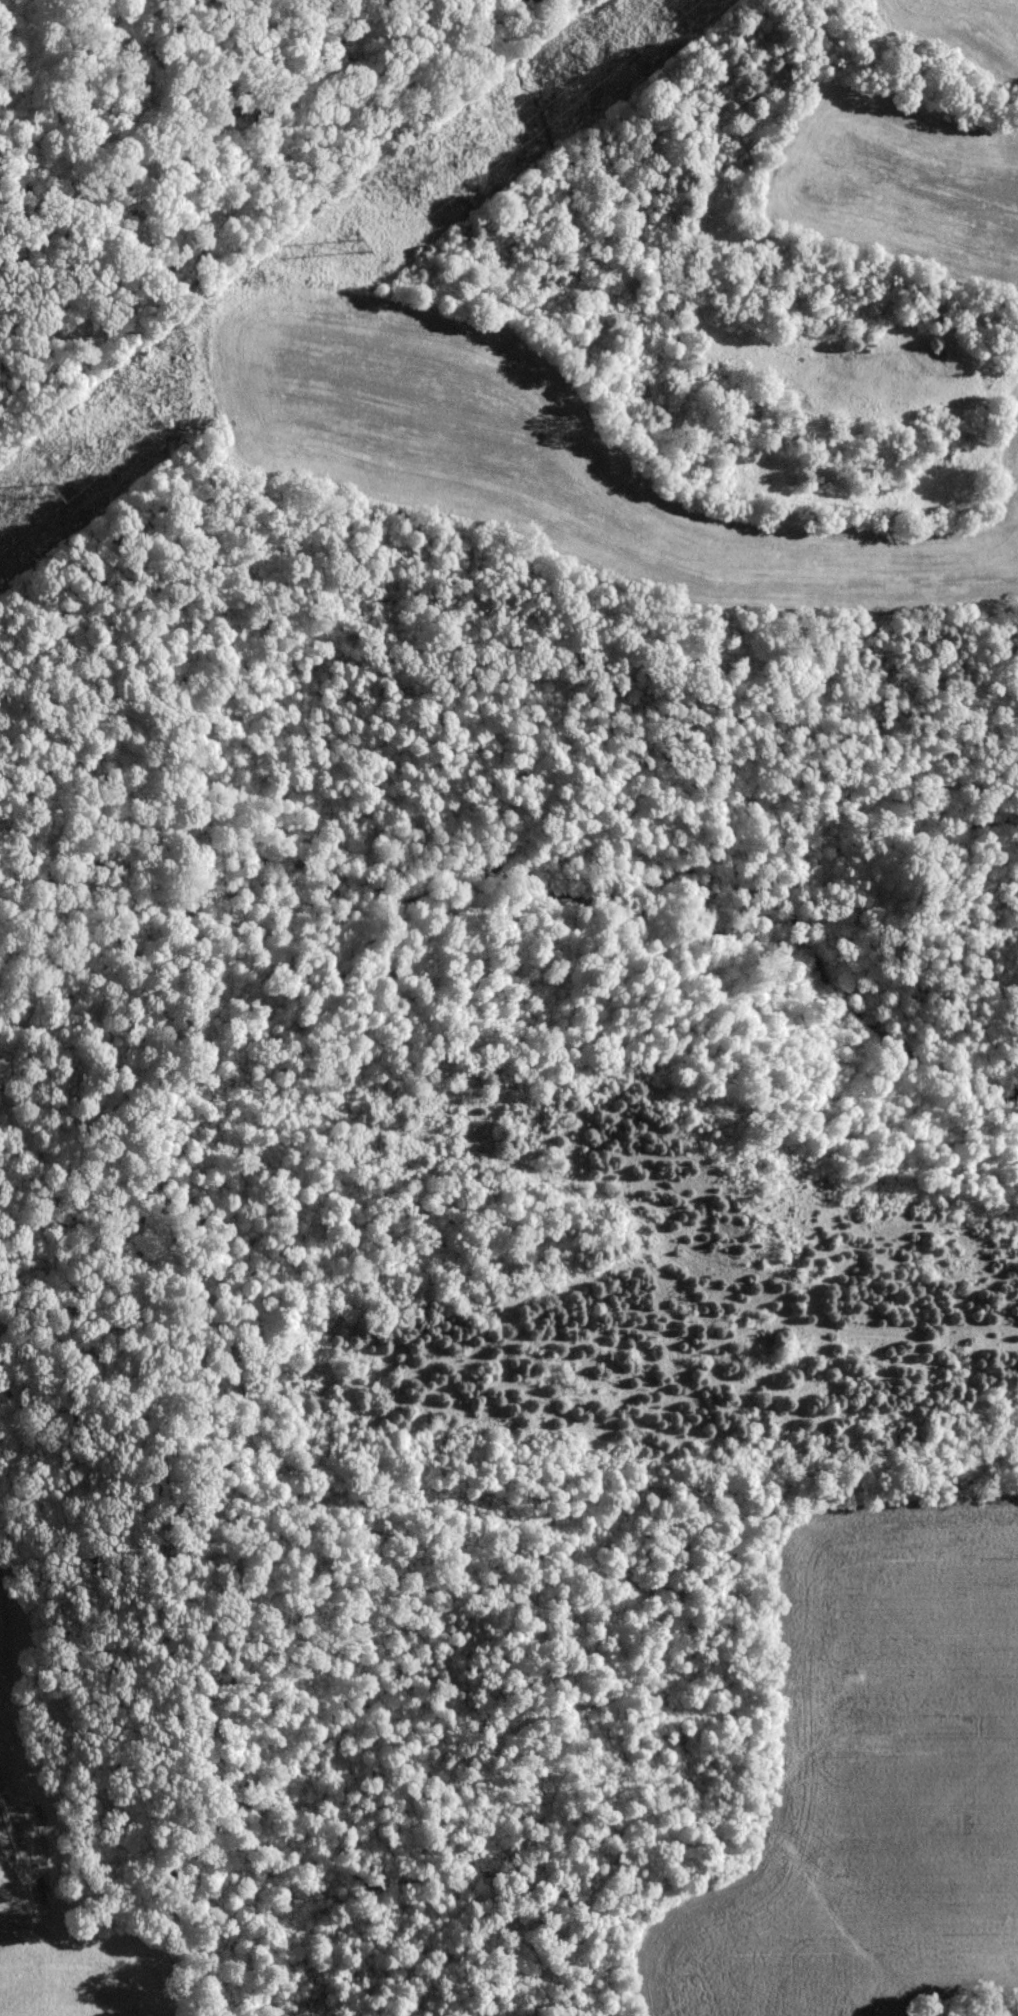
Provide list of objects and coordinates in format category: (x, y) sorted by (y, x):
power tower: (352, 245)
power tower: (44, 489)

